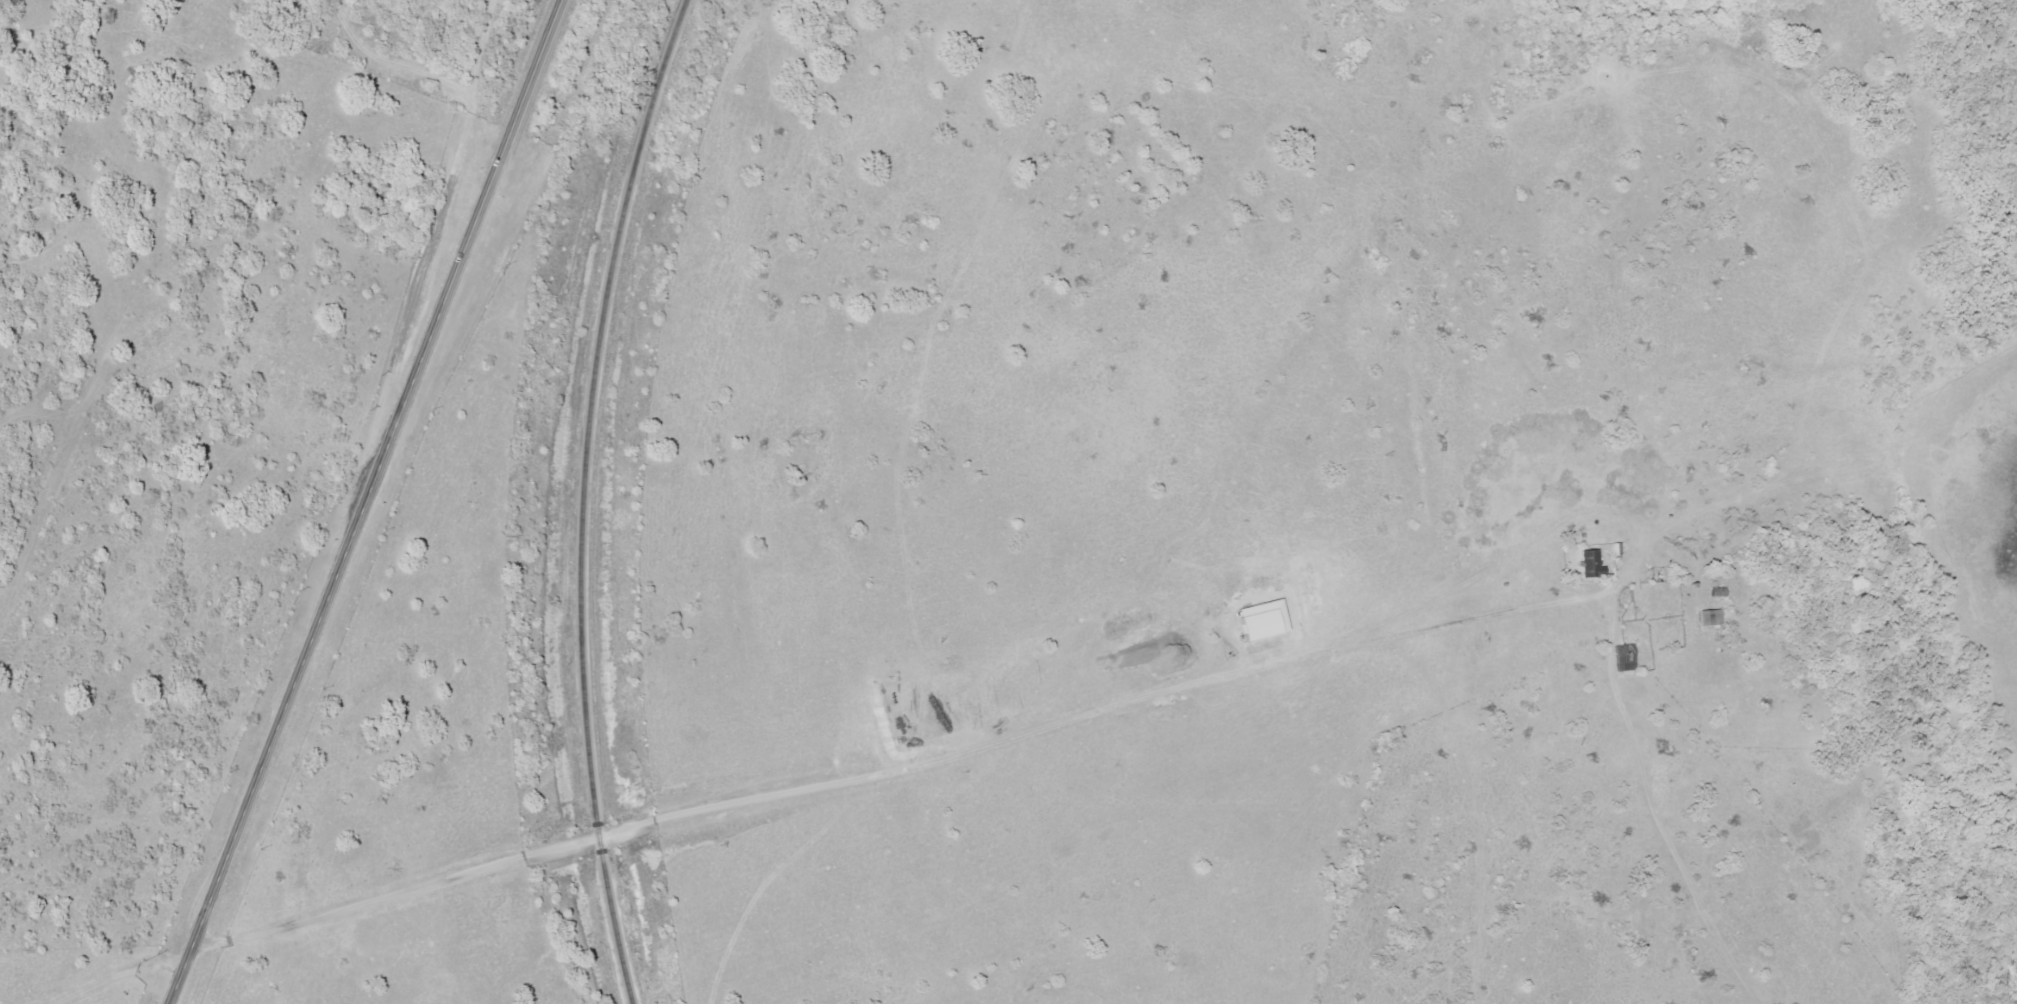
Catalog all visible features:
railway: (584, 498)
road: (369, 502)
building: (1590, 563)
building: (1718, 592)
building: (1709, 617)
building: (1623, 657)

